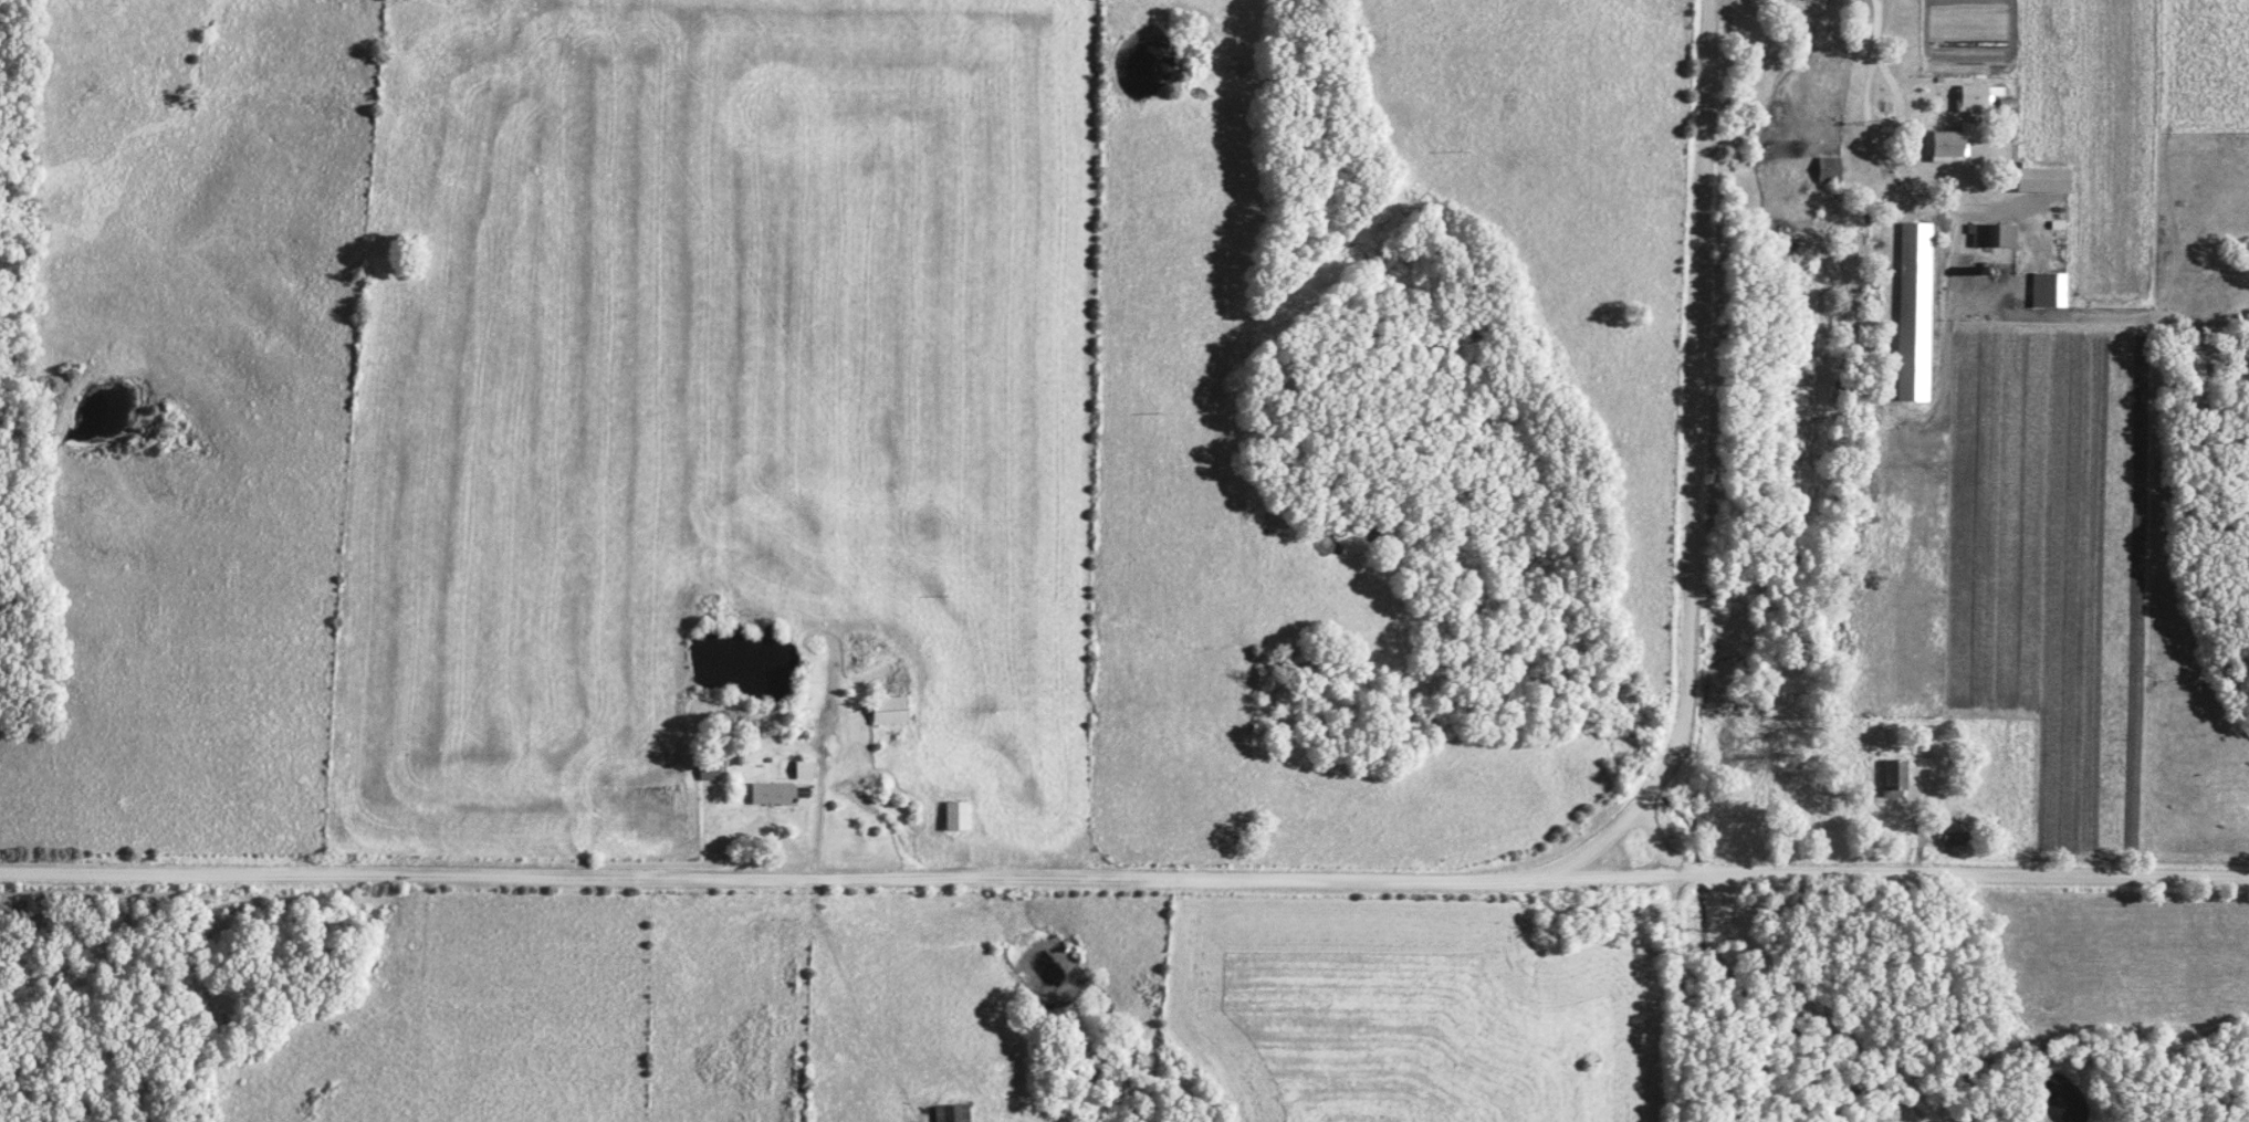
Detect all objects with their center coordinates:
road: (1894, 101)
building: (1983, 101)
building: (1950, 145)
road: (1883, 156)
building: (1830, 172)
building: (2043, 180)
building: (2049, 291)
building: (1915, 312)
road: (1688, 411)
building: (888, 711)
building: (803, 770)
building: (709, 773)
building: (1895, 777)
road: (813, 791)
building: (772, 795)
road: (1649, 841)
road: (1586, 847)
road: (1958, 875)
road: (835, 879)
road: (1667, 997)
road: (1807, 1010)
building: (952, 1113)

